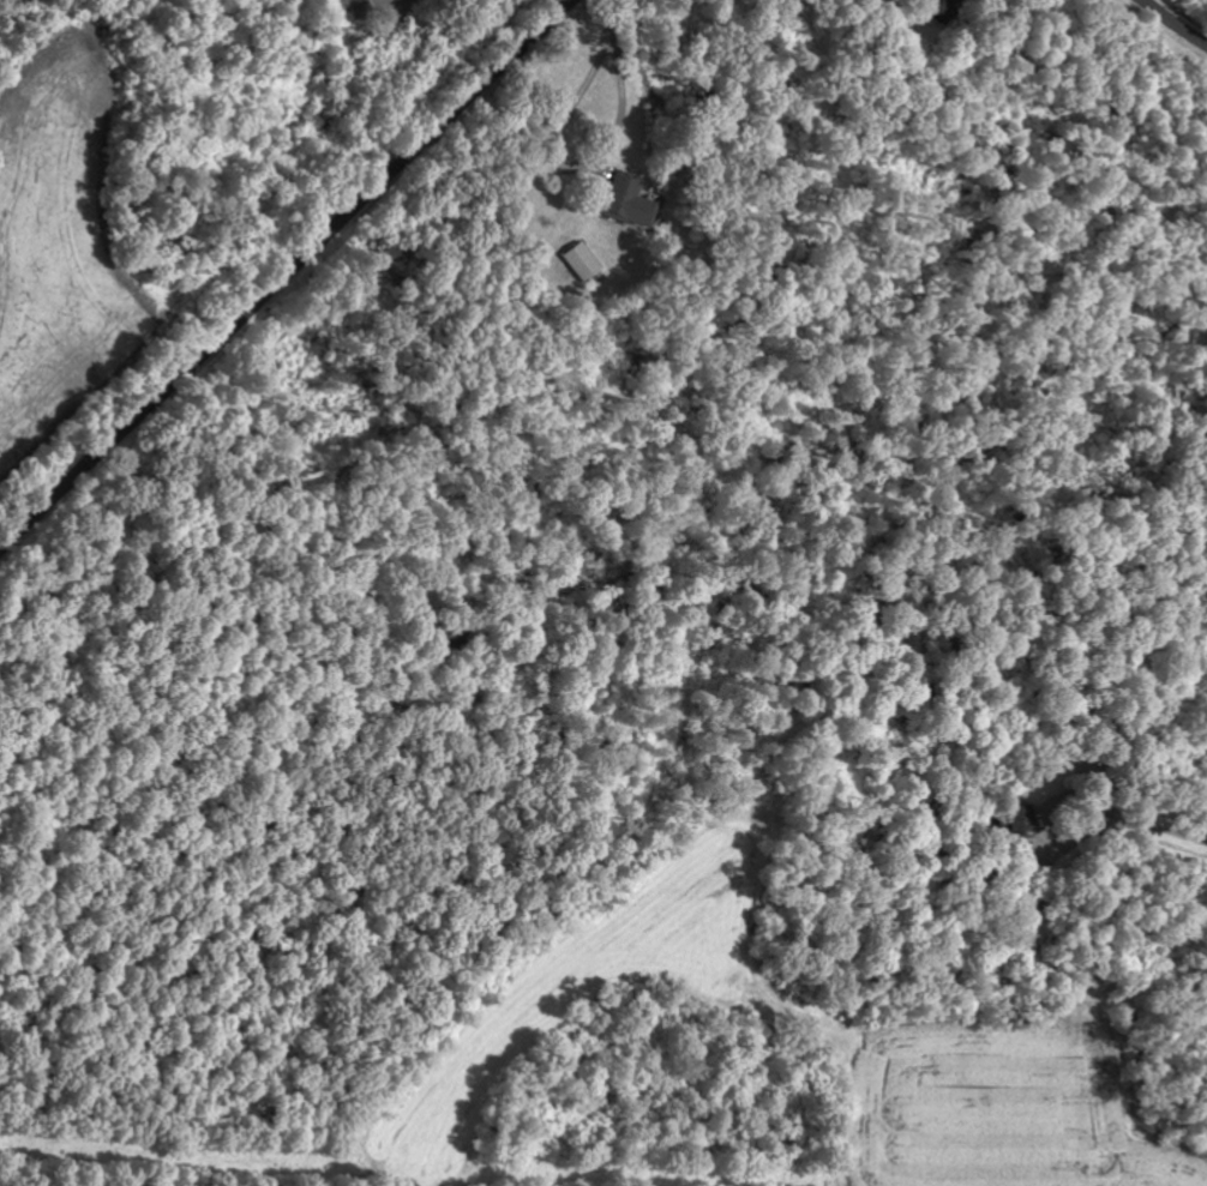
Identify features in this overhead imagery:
building: (941, 7)
road: (1172, 25)
building: (629, 200)
road: (284, 273)

